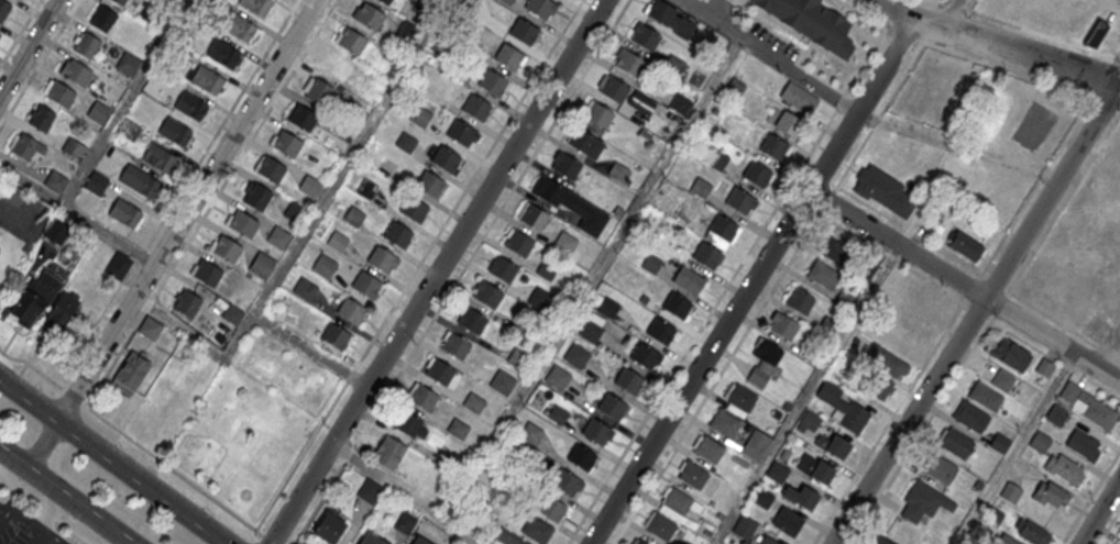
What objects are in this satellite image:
building: (120, 1)
building: (386, 1)
building: (701, 1)
building: (256, 5)
building: (539, 7)
building: (3, 10)
road: (952, 13)
building: (369, 15)
building: (103, 18)
building: (670, 20)
building: (813, 22)
building: (240, 29)
building: (408, 30)
building: (523, 31)
building: (1095, 33)
building: (645, 36)
building: (351, 41)
building: (87, 44)
road: (997, 45)
road: (29, 47)
building: (222, 52)
building: (508, 56)
road: (769, 56)
building: (629, 63)
building: (129, 64)
building: (333, 65)
building: (673, 66)
building: (75, 73)
building: (206, 78)
building: (493, 81)
road: (1119, 81)
traffic signals: (1118, 84)
building: (612, 87)
building: (734, 89)
building: (319, 91)
building: (58, 92)
building: (799, 97)
road: (124, 103)
building: (190, 104)
building: (476, 107)
building: (98, 111)
building: (599, 114)
building: (419, 115)
building: (42, 118)
building: (304, 118)
building: (788, 122)
park: (1033, 124)
building: (129, 130)
building: (175, 131)
building: (461, 132)
building: (405, 142)
building: (584, 142)
building: (286, 144)
building: (24, 146)
building: (772, 146)
road: (958, 146)
building: (73, 148)
road: (350, 156)
building: (158, 157)
building: (444, 157)
building: (717, 159)
building: (567, 165)
building: (271, 169)
building: (618, 173)
building: (757, 173)
building: (139, 180)
road: (471, 180)
road: (791, 180)
building: (0, 181)
building: (55, 181)
building: (96, 182)
building: (429, 182)
building: (309, 185)
road: (1035, 185)
building: (700, 187)
building: (366, 188)
building: (883, 190)
building: (12, 195)
building: (668, 195)
building: (256, 197)
building: (740, 200)
building: (570, 203)
building: (414, 208)
road: (186, 210)
building: (124, 212)
building: (294, 212)
road: (77, 215)
building: (353, 215)
building: (531, 215)
building: (242, 222)
building: (723, 226)
building: (397, 233)
building: (278, 236)
building: (64, 237)
building: (339, 238)
building: (518, 242)
building: (563, 242)
building: (964, 245)
building: (837, 248)
building: (226, 249)
building: (706, 254)
building: (382, 259)
building: (650, 263)
building: (261, 264)
building: (118, 265)
building: (323, 266)
building: (502, 268)
road: (437, 271)
road: (461, 271)
building: (207, 273)
building: (823, 274)
road: (981, 274)
road: (590, 278)
building: (690, 279)
road: (753, 279)
building: (365, 284)
road: (964, 286)
building: (304, 288)
building: (487, 293)
building: (539, 299)
building: (844, 299)
building: (186, 300)
building: (799, 300)
building: (45, 303)
building: (677, 303)
building: (607, 307)
building: (351, 310)
building: (232, 313)
road: (975, 313)
building: (472, 320)
building: (149, 324)
building: (783, 325)
road: (245, 326)
building: (827, 326)
building: (915, 327)
building: (590, 330)
building: (660, 330)
building: (336, 336)
building: (455, 345)
building: (644, 354)
building: (1010, 354)
building: (575, 355)
building: (518, 358)
building: (762, 360)
building: (889, 362)
building: (130, 370)
building: (439, 370)
building: (557, 376)
building: (628, 380)
building: (1003, 380)
building: (502, 382)
road: (1097, 384)
road: (808, 393)
building: (738, 396)
building: (986, 396)
building: (422, 397)
building: (473, 402)
building: (1088, 404)
building: (612, 406)
building: (843, 407)
building: (557, 414)
building: (1056, 414)
building: (970, 415)
building: (809, 420)
building: (724, 422)
road: (888, 422)
park: (253, 423)
building: (409, 423)
building: (457, 428)
building: (800, 428)
building: (596, 430)
road: (921, 431)
building: (530, 433)
building: (1001, 440)
building: (1040, 442)
road: (136, 443)
building: (955, 443)
building: (1080, 443)
building: (755, 444)
road: (42, 445)
building: (833, 445)
building: (707, 447)
road: (1015, 448)
building: (388, 452)
building: (581, 456)
road: (112, 462)
building: (815, 468)
building: (940, 468)
building: (1065, 468)
building: (777, 471)
building: (692, 474)
building: (569, 484)
building: (370, 490)
road: (404, 492)
building: (1010, 492)
building: (1050, 495)
building: (800, 496)
road: (64, 497)
building: (761, 497)
road: (1091, 497)
building: (677, 500)
building: (923, 500)
building: (551, 507)
road: (45, 510)
road: (1099, 511)
road: (7, 512)
road: (51, 513)
building: (787, 521)
road: (26, 522)
building: (405, 522)
building: (329, 524)
building: (659, 524)
parking lot: (24, 526)
building: (744, 526)
road: (1109, 526)
building: (536, 529)
road: (42, 532)
building: (1033, 532)
building: (372, 539)
building: (876, 539)
building: (418, 541)
building: (640, 541)
building: (767, 541)
building: (518, 542)
building: (747, 542)

